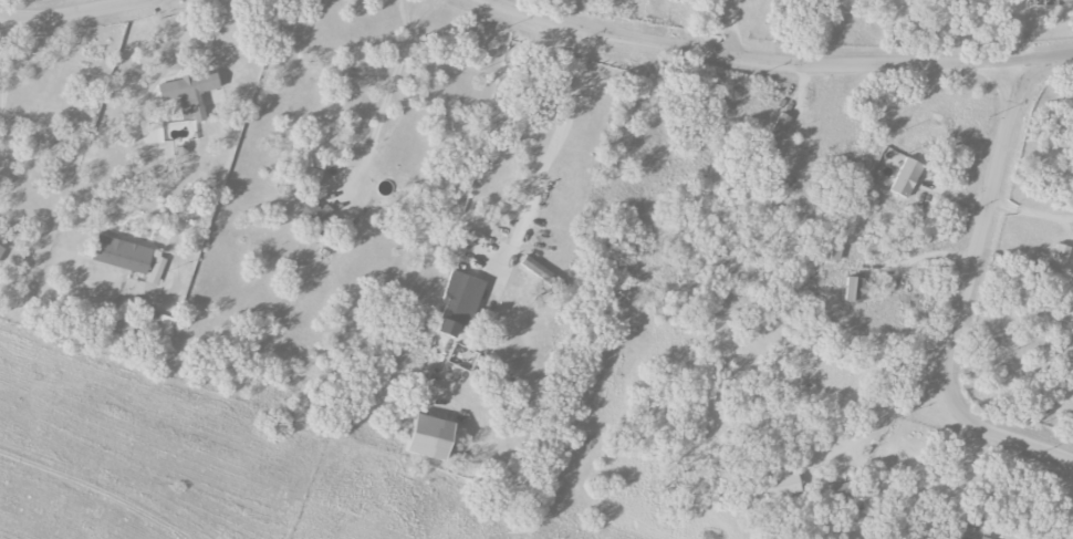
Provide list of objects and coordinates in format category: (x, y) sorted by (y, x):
road: (73, 11)
road: (730, 28)
road: (779, 62)
road: (6, 70)
building: (189, 94)
road: (387, 99)
road: (139, 120)
building: (778, 127)
road: (553, 135)
building: (311, 176)
building: (906, 177)
road: (6, 185)
building: (314, 217)
building: (1, 250)
building: (1060, 253)
building: (121, 255)
building: (156, 270)
building: (538, 270)
building: (855, 290)
road: (960, 298)
building: (459, 302)
building: (1072, 332)
building: (431, 437)
building: (782, 487)
building: (838, 493)
building: (857, 507)
building: (961, 537)
building: (982, 538)

